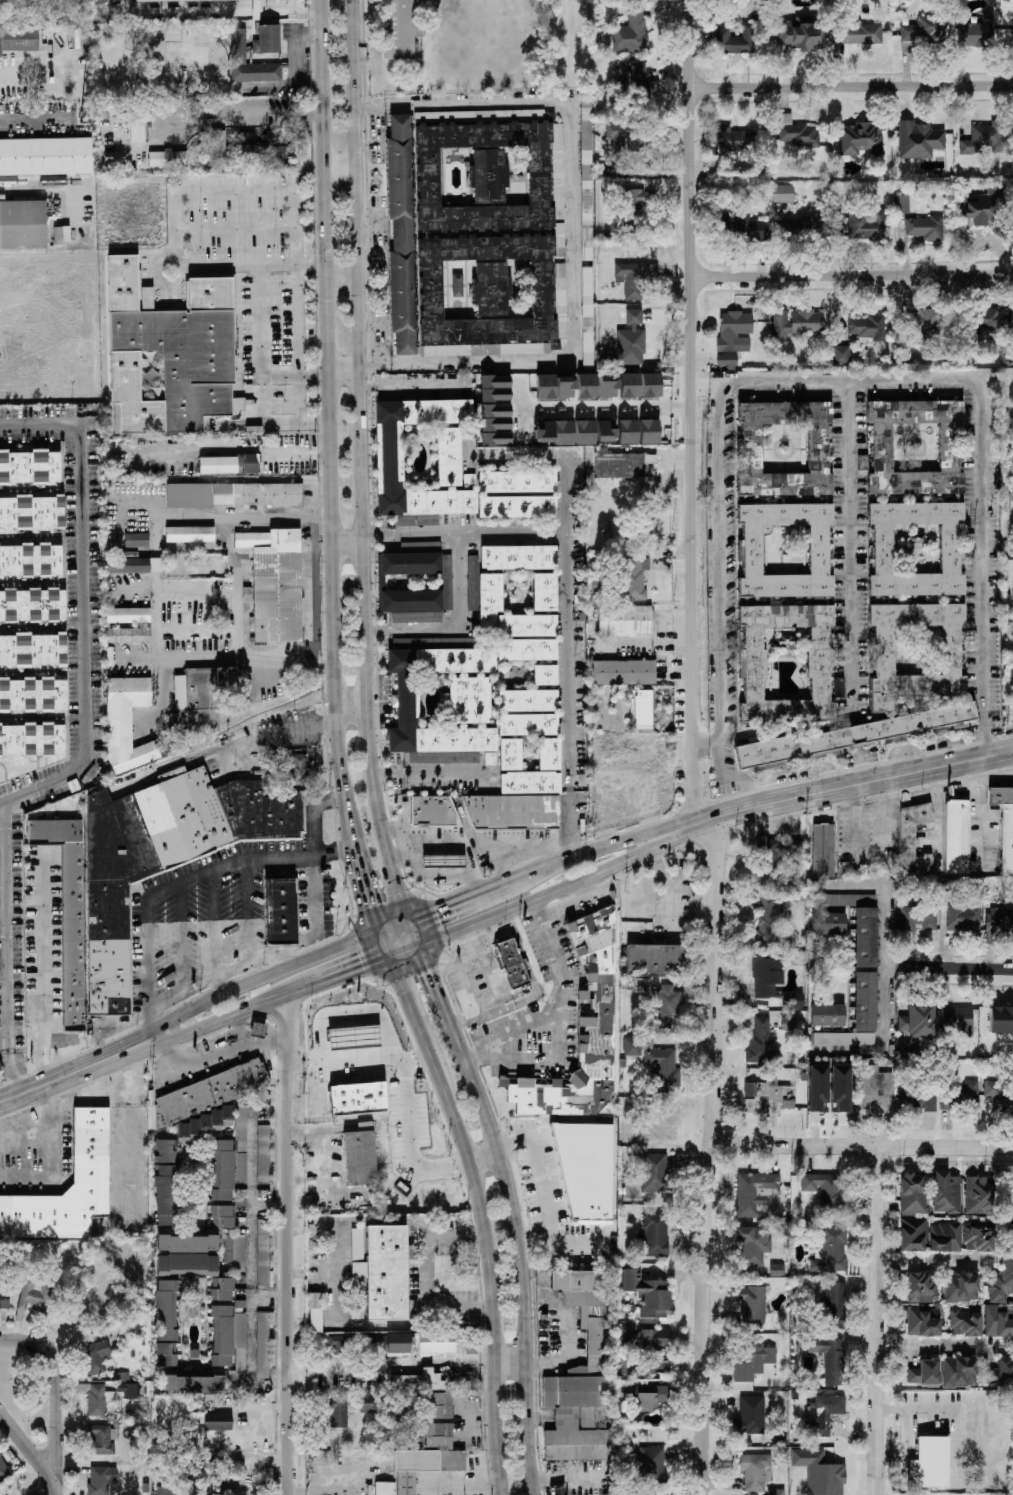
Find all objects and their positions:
building: (175, 0)
building: (400, 29)
building: (631, 31)
building: (923, 32)
building: (857, 33)
building: (977, 33)
building: (800, 34)
building: (18, 40)
building: (735, 40)
building: (238, 58)
building: (638, 80)
road: (851, 86)
building: (137, 123)
road: (209, 123)
road: (31, 124)
building: (797, 133)
building: (733, 139)
building: (859, 139)
building: (918, 140)
building: (984, 140)
building: (247, 144)
road: (367, 146)
building: (217, 150)
building: (278, 153)
building: (46, 156)
building: (114, 157)
building: (167, 159)
road: (337, 168)
building: (488, 176)
building: (540, 177)
building: (586, 180)
road: (242, 193)
building: (783, 193)
building: (636, 204)
building: (902, 204)
building: (981, 210)
road: (368, 219)
building: (22, 224)
building: (867, 225)
road: (235, 226)
building: (739, 227)
building: (806, 227)
building: (924, 228)
road: (577, 229)
building: (62, 234)
building: (401, 235)
road: (172, 254)
road: (369, 256)
road: (308, 263)
building: (30, 266)
road: (220, 266)
road: (852, 276)
building: (631, 280)
road: (161, 283)
building: (456, 285)
building: (490, 289)
building: (543, 289)
building: (147, 298)
building: (587, 316)
building: (992, 321)
building: (798, 323)
building: (926, 323)
road: (371, 324)
building: (865, 327)
building: (735, 332)
road: (261, 336)
building: (631, 340)
road: (298, 341)
building: (171, 354)
building: (841, 355)
building: (10, 360)
building: (727, 361)
road: (340, 372)
road: (357, 379)
building: (630, 386)
road: (409, 388)
road: (593, 409)
road: (692, 410)
building: (495, 417)
road: (272, 420)
road: (984, 422)
road: (522, 425)
road: (325, 426)
building: (543, 431)
building: (605, 431)
building: (648, 431)
building: (627, 432)
road: (268, 451)
road: (850, 451)
road: (546, 453)
building: (389, 457)
building: (448, 457)
building: (229, 464)
building: (620, 465)
building: (30, 467)
building: (516, 482)
building: (233, 495)
road: (573, 495)
building: (1011, 500)
building: (517, 507)
building: (31, 512)
building: (418, 520)
building: (189, 534)
road: (315, 535)
building: (136, 540)
road: (321, 545)
road: (343, 545)
building: (915, 549)
road: (564, 556)
building: (518, 557)
building: (30, 560)
building: (785, 560)
building: (134, 565)
building: (473, 576)
building: (633, 578)
road: (731, 581)
building: (447, 582)
building: (275, 584)
building: (545, 592)
road: (197, 593)
building: (490, 594)
building: (32, 605)
building: (127, 615)
building: (625, 621)
road: (456, 629)
building: (128, 635)
road: (156, 636)
building: (423, 644)
building: (33, 650)
building: (527, 650)
road: (852, 654)
road: (235, 661)
road: (287, 663)
building: (624, 673)
building: (545, 675)
building: (33, 695)
building: (202, 695)
building: (469, 700)
building: (407, 701)
building: (527, 701)
road: (349, 708)
building: (126, 723)
building: (527, 725)
road: (273, 732)
building: (844, 738)
building: (32, 739)
road: (925, 744)
road: (87, 746)
building: (549, 754)
building: (510, 755)
building: (297, 770)
road: (427, 772)
road: (796, 772)
road: (372, 777)
road: (729, 778)
road: (994, 780)
building: (530, 783)
road: (859, 786)
road: (3, 804)
building: (431, 812)
building: (511, 812)
road: (316, 816)
road: (379, 823)
road: (978, 824)
road: (684, 825)
building: (1005, 826)
road: (687, 831)
building: (956, 837)
building: (913, 839)
road: (2, 846)
road: (659, 846)
building: (823, 851)
building: (772, 856)
building: (163, 857)
road: (570, 858)
road: (281, 859)
building: (443, 861)
road: (391, 872)
road: (198, 877)
road: (857, 886)
road: (673, 889)
road: (363, 890)
road: (314, 894)
road: (534, 902)
road: (442, 905)
traffic signals: (369, 906)
road: (400, 906)
road: (564, 907)
traffic signals: (437, 908)
building: (68, 911)
building: (280, 913)
building: (963, 916)
building: (919, 917)
building: (769, 921)
building: (828, 921)
building: (999, 922)
road: (216, 924)
road: (391, 924)
road: (249, 929)
road: (410, 933)
road: (886, 935)
road: (150, 936)
road: (184, 938)
road: (382, 944)
road: (401, 953)
building: (655, 959)
building: (512, 964)
traffic signals: (363, 968)
road: (958, 968)
road: (42, 972)
road: (349, 973)
traffic signals: (427, 976)
building: (766, 980)
road: (249, 983)
road: (431, 988)
road: (192, 989)
road: (375, 995)
building: (793, 1001)
building: (866, 1002)
building: (668, 1006)
building: (602, 1009)
road: (549, 1012)
building: (827, 1015)
road: (151, 1019)
building: (1001, 1020)
road: (220, 1021)
building: (918, 1021)
building: (956, 1021)
road: (321, 1023)
building: (788, 1023)
road: (239, 1031)
building: (364, 1038)
building: (844, 1039)
road: (884, 1039)
building: (761, 1043)
road: (403, 1045)
building: (632, 1047)
building: (907, 1049)
road: (395, 1052)
road: (218, 1053)
road: (416, 1058)
road: (324, 1061)
road: (544, 1062)
road: (375, 1064)
building: (661, 1065)
building: (0, 1072)
road: (64, 1076)
road: (129, 1084)
building: (841, 1087)
building: (818, 1088)
building: (874, 1089)
building: (212, 1091)
building: (961, 1095)
building: (1000, 1095)
building: (767, 1098)
building: (387, 1100)
building: (919, 1102)
building: (423, 1139)
building: (222, 1148)
road: (862, 1148)
building: (166, 1151)
building: (91, 1152)
building: (263, 1154)
building: (360, 1155)
road: (711, 1156)
road: (53, 1157)
road: (485, 1158)
building: (586, 1172)
building: (654, 1173)
building: (413, 1178)
building: (824, 1188)
road: (544, 1191)
building: (754, 1192)
building: (913, 1193)
building: (945, 1193)
building: (167, 1195)
building: (978, 1196)
building: (222, 1217)
road: (482, 1218)
building: (655, 1234)
building: (913, 1235)
building: (945, 1237)
building: (977, 1237)
road: (577, 1243)
building: (357, 1244)
building: (752, 1245)
road: (290, 1246)
building: (234, 1251)
building: (831, 1251)
building: (263, 1253)
building: (187, 1255)
road: (519, 1256)
road: (936, 1262)
building: (385, 1272)
road: (428, 1276)
building: (1001, 1281)
building: (922, 1288)
building: (961, 1288)
building: (222, 1289)
building: (647, 1293)
building: (35, 1297)
road: (270, 1299)
building: (4, 1301)
building: (751, 1304)
building: (835, 1306)
building: (315, 1312)
road: (564, 1322)
road: (881, 1322)
building: (923, 1322)
building: (998, 1322)
building: (166, 1323)
building: (965, 1324)
building: (222, 1336)
building: (655, 1338)
building: (420, 1344)
building: (263, 1345)
road: (937, 1348)
building: (94, 1357)
building: (828, 1357)
building: (751, 1362)
road: (508, 1363)
building: (645, 1366)
road: (317, 1367)
building: (959, 1372)
building: (925, 1373)
building: (1000, 1374)
building: (581, 1378)
building: (418, 1382)
building: (193, 1384)
building: (129, 1390)
road: (57, 1393)
building: (647, 1397)
building: (367, 1403)
building: (437, 1406)
building: (338, 1411)
building: (825, 1413)
building: (750, 1416)
building: (218, 1422)
building: (102, 1440)
road: (30, 1452)
building: (428, 1457)
building: (928, 1463)
building: (651, 1465)
building: (756, 1471)
building: (3, 1472)
building: (820, 1472)
building: (101, 1480)
building: (228, 1484)
building: (384, 1488)
road: (51, 1491)
building: (175, 1491)
building: (559, 1492)
building: (777, 1492)

